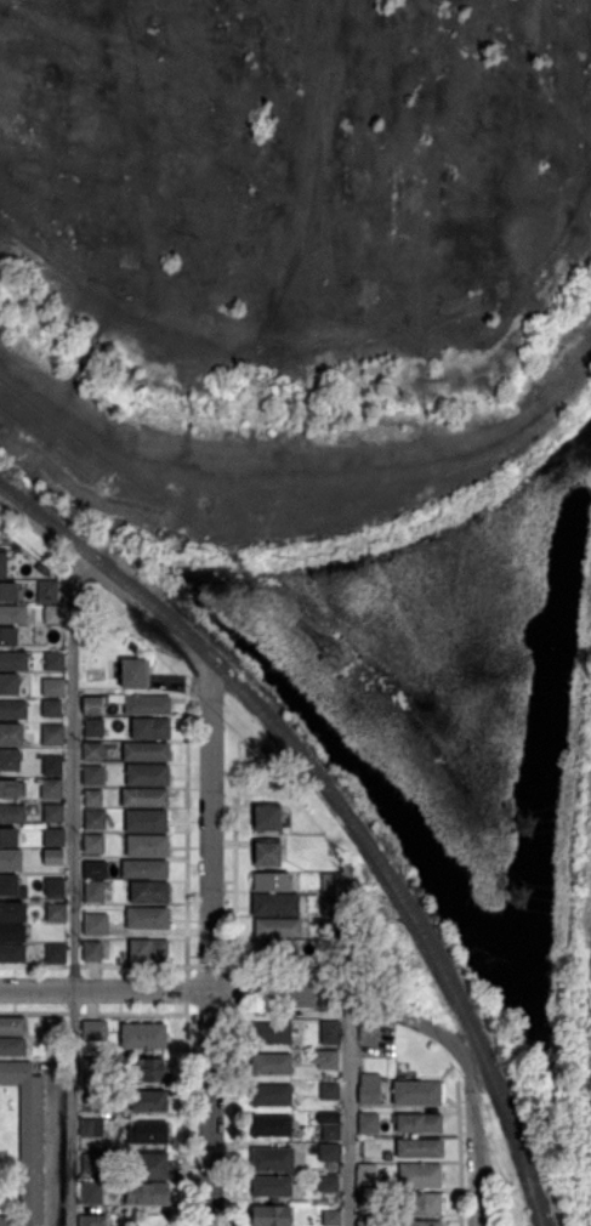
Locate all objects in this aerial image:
building: (2, 564)
building: (39, 568)
road: (107, 584)
building: (7, 591)
building: (49, 592)
building: (12, 615)
building: (55, 615)
building: (32, 631)
building: (7, 636)
building: (132, 646)
power tower: (340, 655)
building: (13, 662)
building: (53, 662)
building: (113, 668)
building: (135, 674)
building: (8, 685)
building: (52, 686)
building: (147, 705)
building: (93, 706)
building: (51, 708)
building: (13, 710)
building: (93, 727)
building: (150, 730)
building: (10, 734)
building: (52, 736)
building: (146, 751)
building: (92, 753)
building: (10, 761)
building: (52, 766)
building: (147, 774)
building: (91, 776)
building: (11, 789)
building: (51, 789)
building: (144, 798)
building: (93, 799)
railway: (339, 806)
building: (53, 813)
building: (11, 815)
building: (267, 818)
building: (93, 819)
building: (144, 821)
power tower: (528, 825)
building: (7, 838)
building: (53, 838)
building: (93, 844)
building: (144, 846)
building: (266, 855)
building: (52, 857)
building: (10, 859)
building: (144, 869)
building: (93, 870)
building: (331, 881)
building: (272, 882)
building: (11, 887)
building: (53, 887)
road: (72, 887)
building: (95, 891)
building: (148, 892)
power tower: (517, 895)
building: (274, 906)
building: (330, 907)
building: (12, 912)
building: (55, 913)
building: (147, 919)
building: (96, 925)
building: (329, 927)
building: (278, 929)
building: (11, 933)
road: (212, 950)
building: (92, 952)
building: (148, 952)
building: (273, 952)
building: (11, 954)
building: (55, 954)
road: (106, 991)
road: (280, 994)
road: (424, 1022)
building: (12, 1026)
building: (53, 1026)
building: (93, 1031)
building: (271, 1033)
building: (330, 1033)
building: (143, 1035)
building: (12, 1048)
building: (328, 1060)
building: (271, 1065)
building: (91, 1066)
building: (152, 1069)
building: (369, 1089)
building: (329, 1090)
building: (419, 1092)
building: (271, 1095)
building: (93, 1097)
building: (148, 1101)
road: (348, 1112)
building: (331, 1116)
building: (368, 1123)
building: (417, 1123)
building: (272, 1125)
building: (91, 1128)
building: (148, 1133)
building: (330, 1133)
building: (27, 1142)
building: (373, 1148)
building: (419, 1150)
building: (328, 1152)
road: (472, 1153)
building: (272, 1159)
building: (91, 1162)
building: (152, 1167)
building: (366, 1176)
building: (419, 1176)
building: (328, 1184)
building: (271, 1186)
building: (147, 1193)
building: (91, 1194)
building: (368, 1199)
building: (421, 1204)
building: (268, 1216)
building: (331, 1218)
building: (92, 1221)
building: (366, 1224)
building: (421, 1224)

